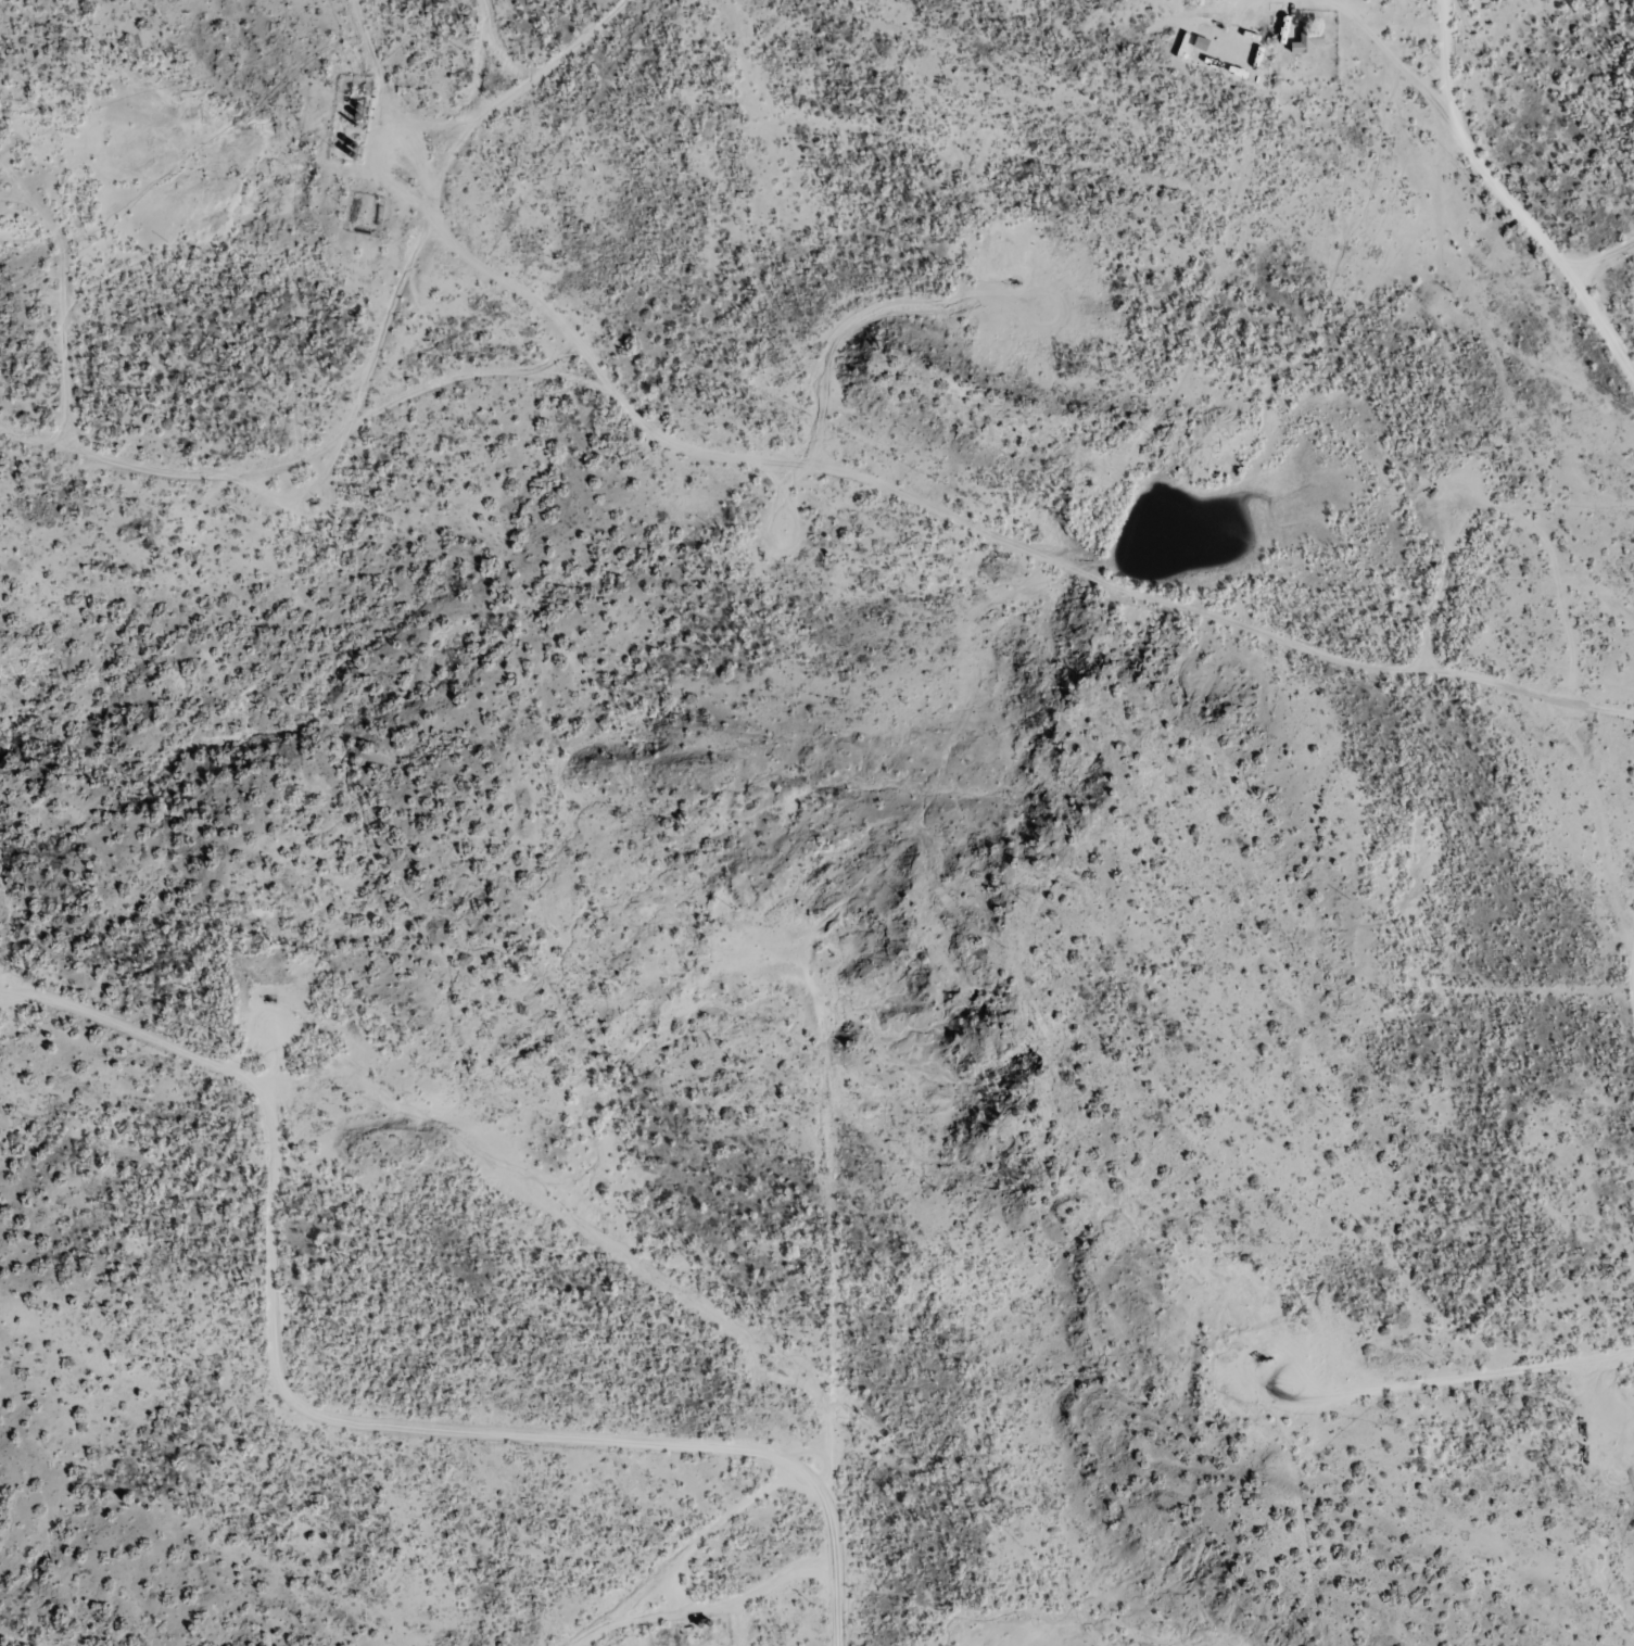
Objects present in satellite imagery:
building: (1308, 41)
road: (1482, 248)
road: (545, 316)
road: (378, 356)
road: (984, 569)
road: (838, 1296)
road: (381, 1458)
road: (702, 1575)

